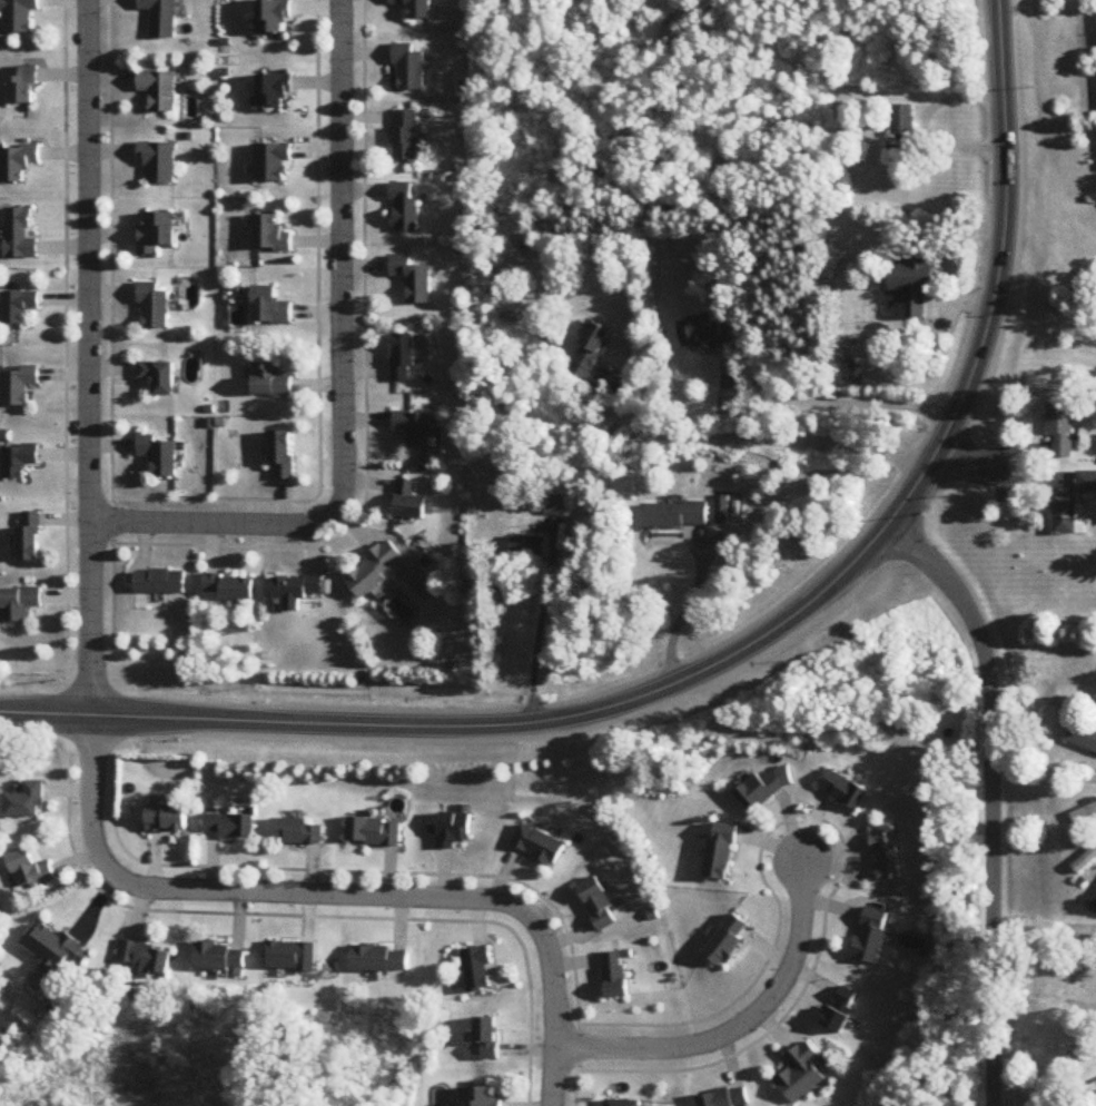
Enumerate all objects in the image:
building: (416, 9)
building: (18, 17)
building: (161, 18)
building: (275, 19)
building: (409, 70)
building: (23, 89)
building: (160, 91)
building: (276, 92)
building: (904, 122)
building: (405, 137)
building: (159, 164)
building: (18, 165)
building: (274, 165)
building: (405, 209)
building: (160, 234)
building: (271, 235)
building: (19, 237)
road: (88, 263)
building: (414, 279)
building: (912, 289)
building: (271, 307)
building: (19, 308)
building: (155, 308)
building: (703, 335)
building: (590, 350)
building: (404, 357)
building: (160, 377)
building: (271, 381)
road: (344, 381)
building: (19, 386)
road: (833, 402)
building: (414, 427)
building: (1062, 428)
road: (759, 440)
building: (160, 455)
building: (282, 455)
building: (19, 462)
building: (1087, 482)
building: (407, 501)
building: (1068, 514)
building: (673, 515)
building: (29, 537)
building: (529, 547)
building: (374, 570)
building: (159, 582)
building: (229, 587)
building: (298, 590)
building: (19, 604)
road: (962, 605)
road: (684, 612)
road: (91, 621)
road: (540, 630)
road: (738, 653)
building: (1083, 738)
building: (761, 789)
building: (842, 790)
building: (27, 801)
building: (1084, 814)
building: (167, 819)
building: (231, 827)
building: (453, 830)
building: (296, 832)
building: (374, 832)
building: (536, 845)
building: (715, 853)
building: (885, 858)
building: (1085, 862)
building: (29, 870)
road: (338, 896)
building: (598, 905)
road: (990, 907)
building: (870, 936)
building: (727, 941)
building: (56, 949)
building: (292, 955)
building: (220, 958)
building: (147, 959)
building: (381, 960)
building: (478, 970)
building: (614, 976)
building: (841, 1010)
road: (741, 1027)
building: (488, 1037)
building: (801, 1074)
building: (484, 1097)
building: (724, 1098)
building: (624, 1103)

